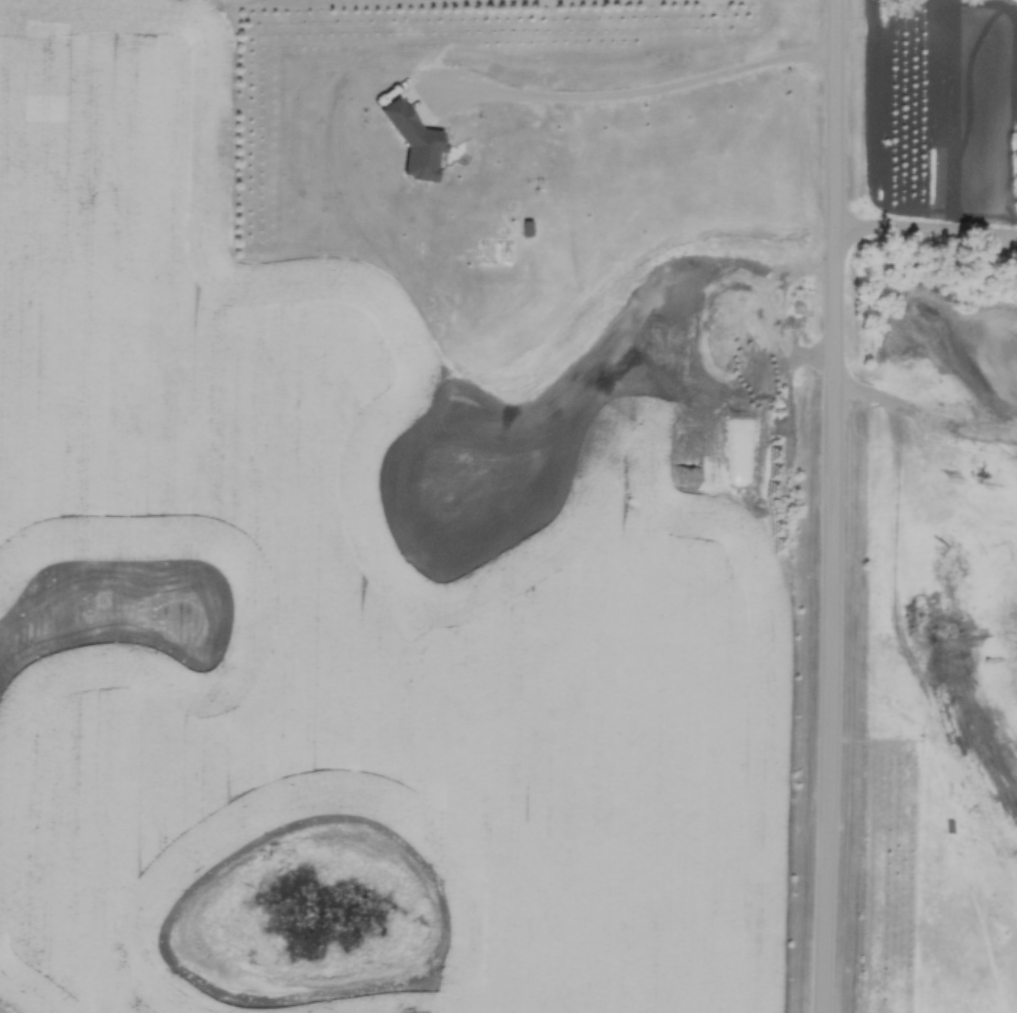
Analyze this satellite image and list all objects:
road: (831, 506)

